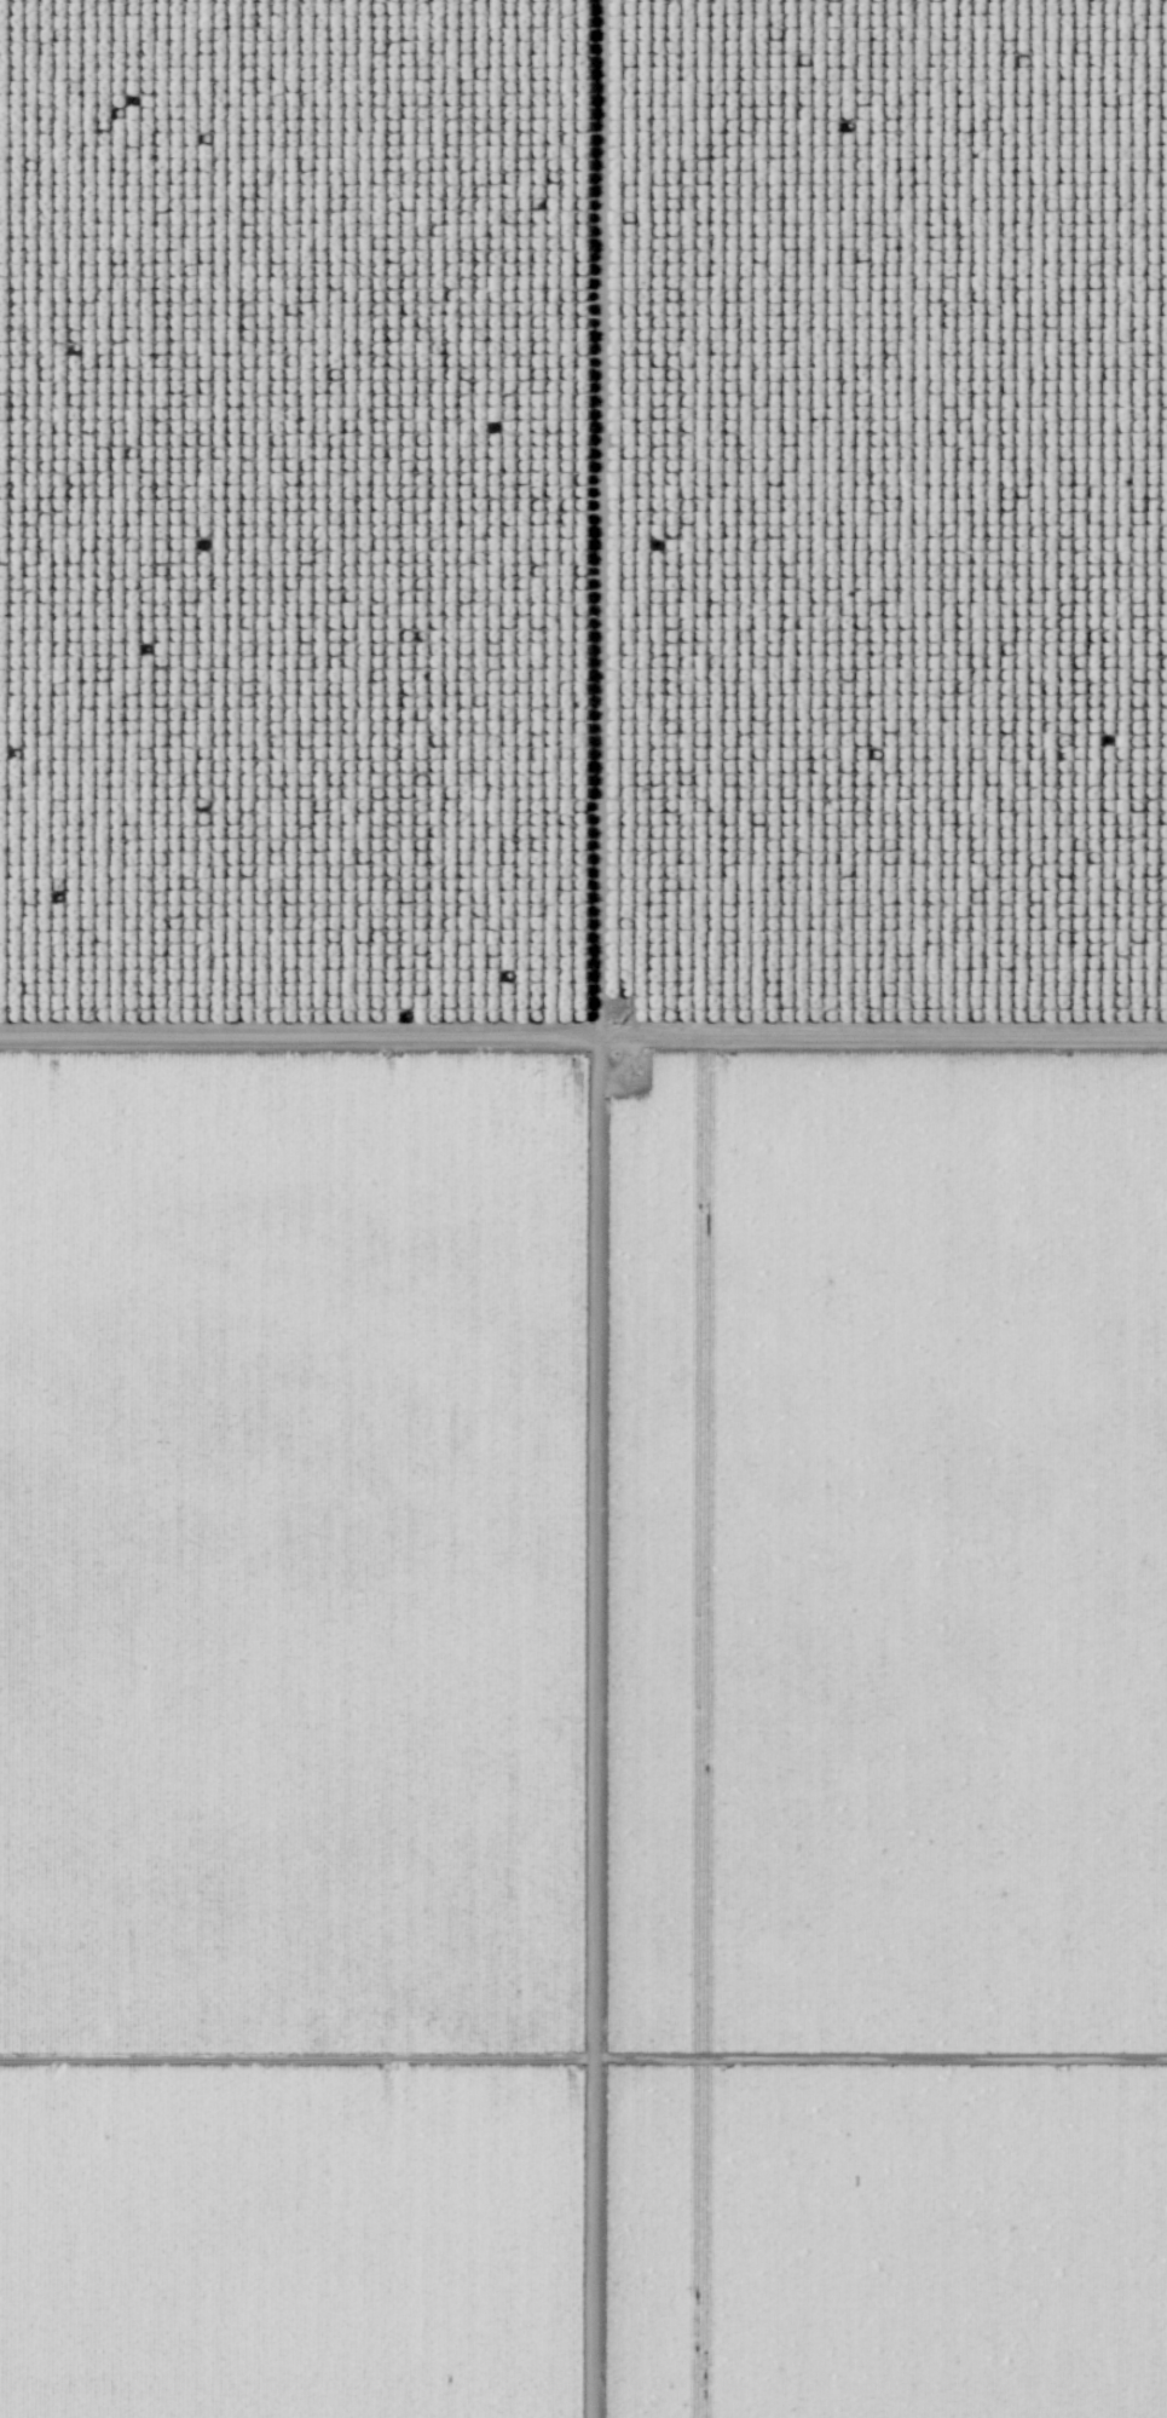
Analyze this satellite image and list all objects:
road: (583, 1035)
road: (594, 1208)
crop: (300, 1739)
crop: (884, 1740)

